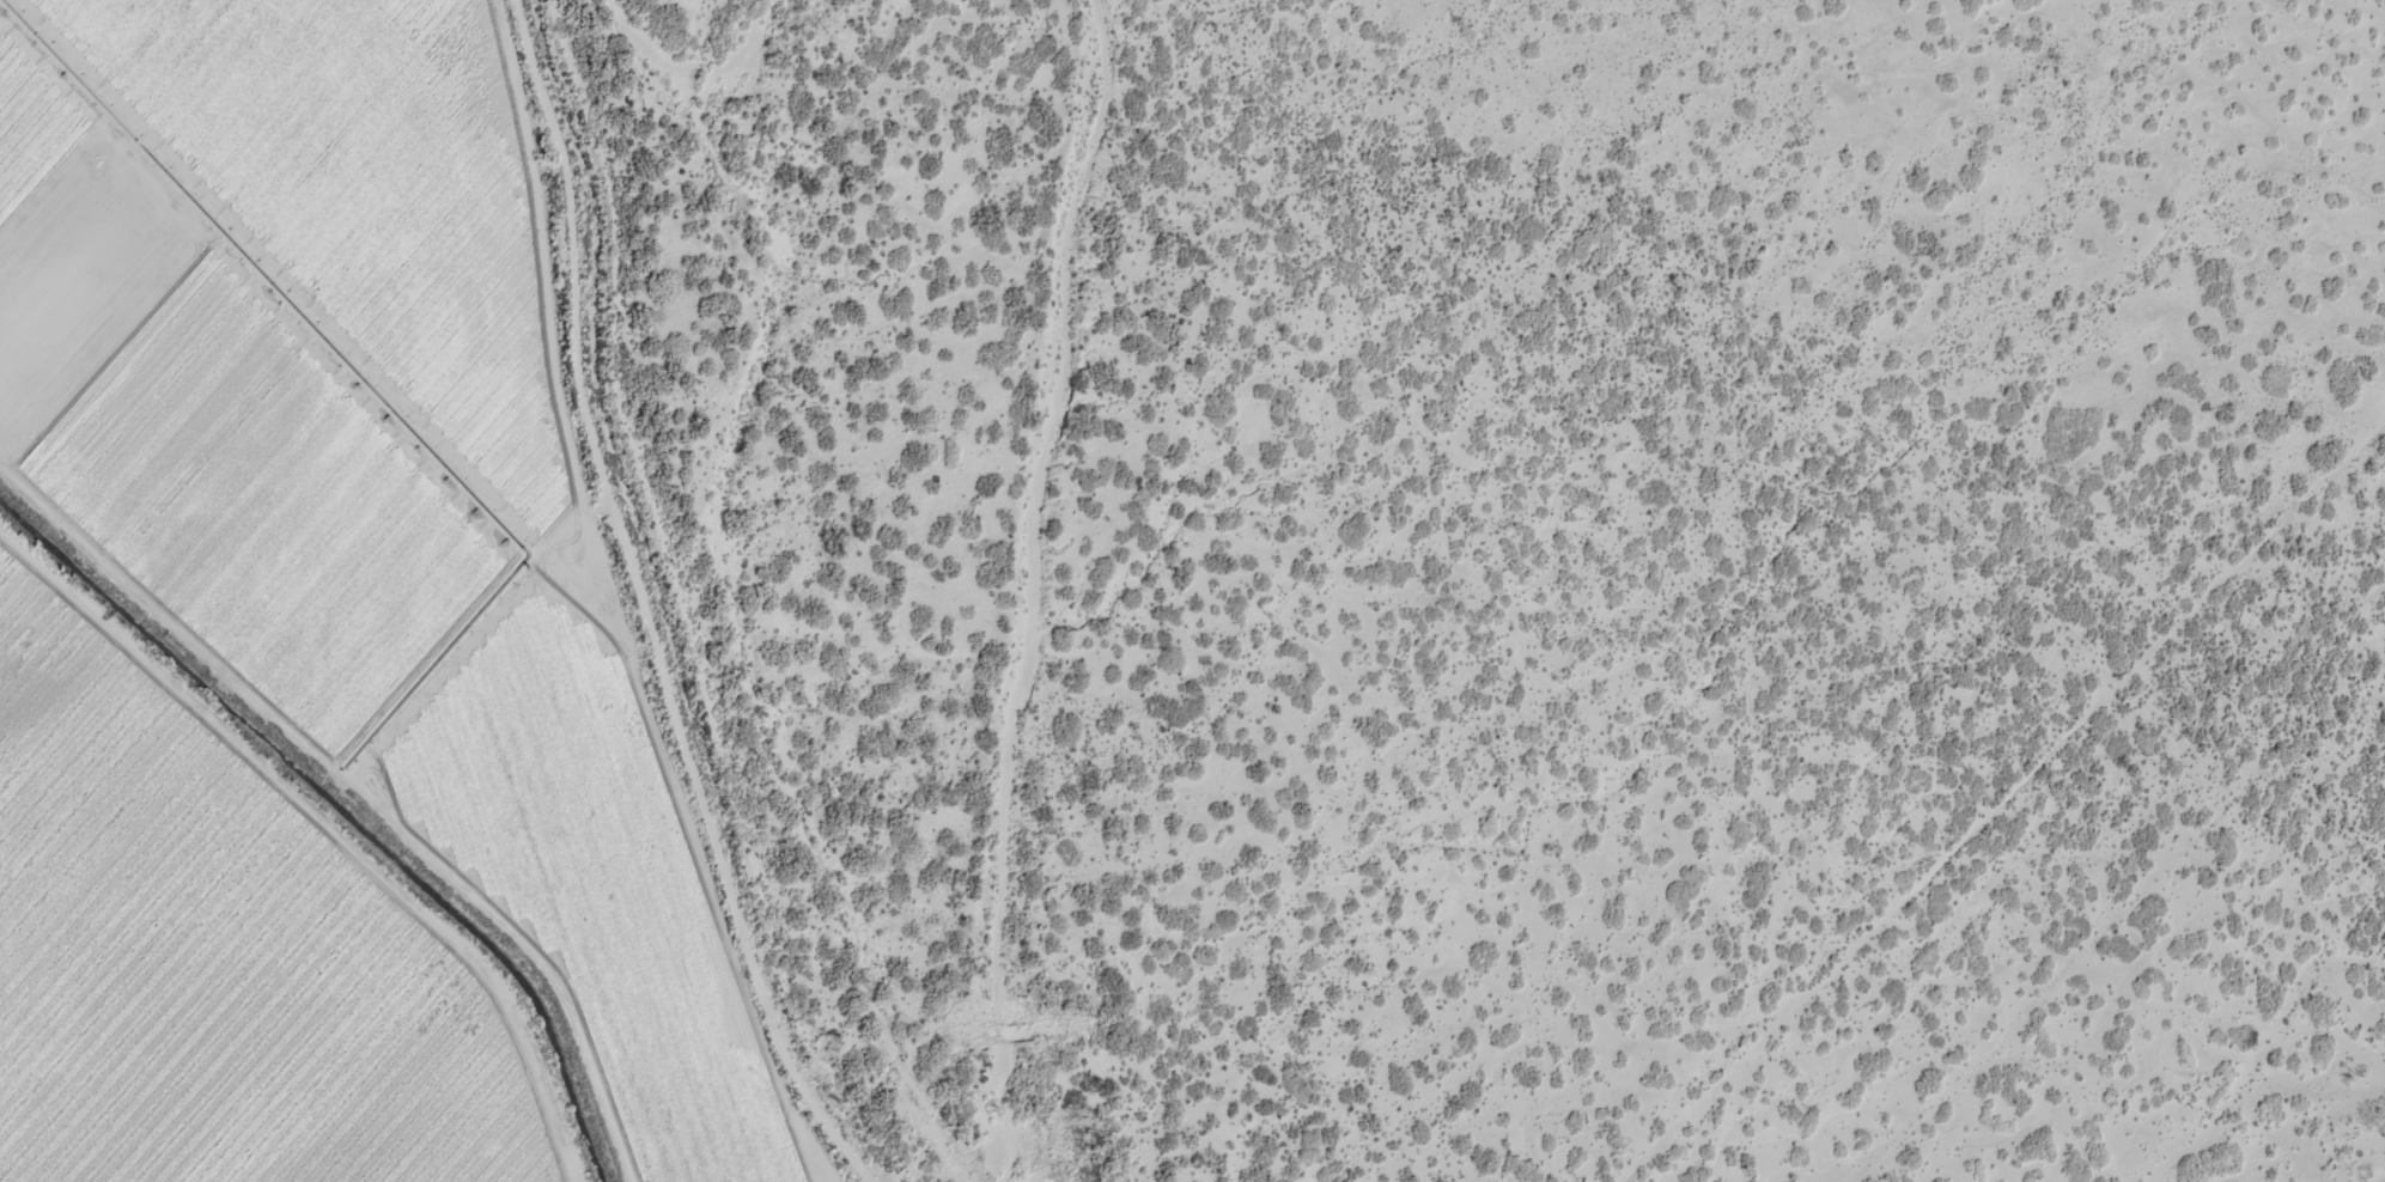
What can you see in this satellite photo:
railway: (2247, 105)

